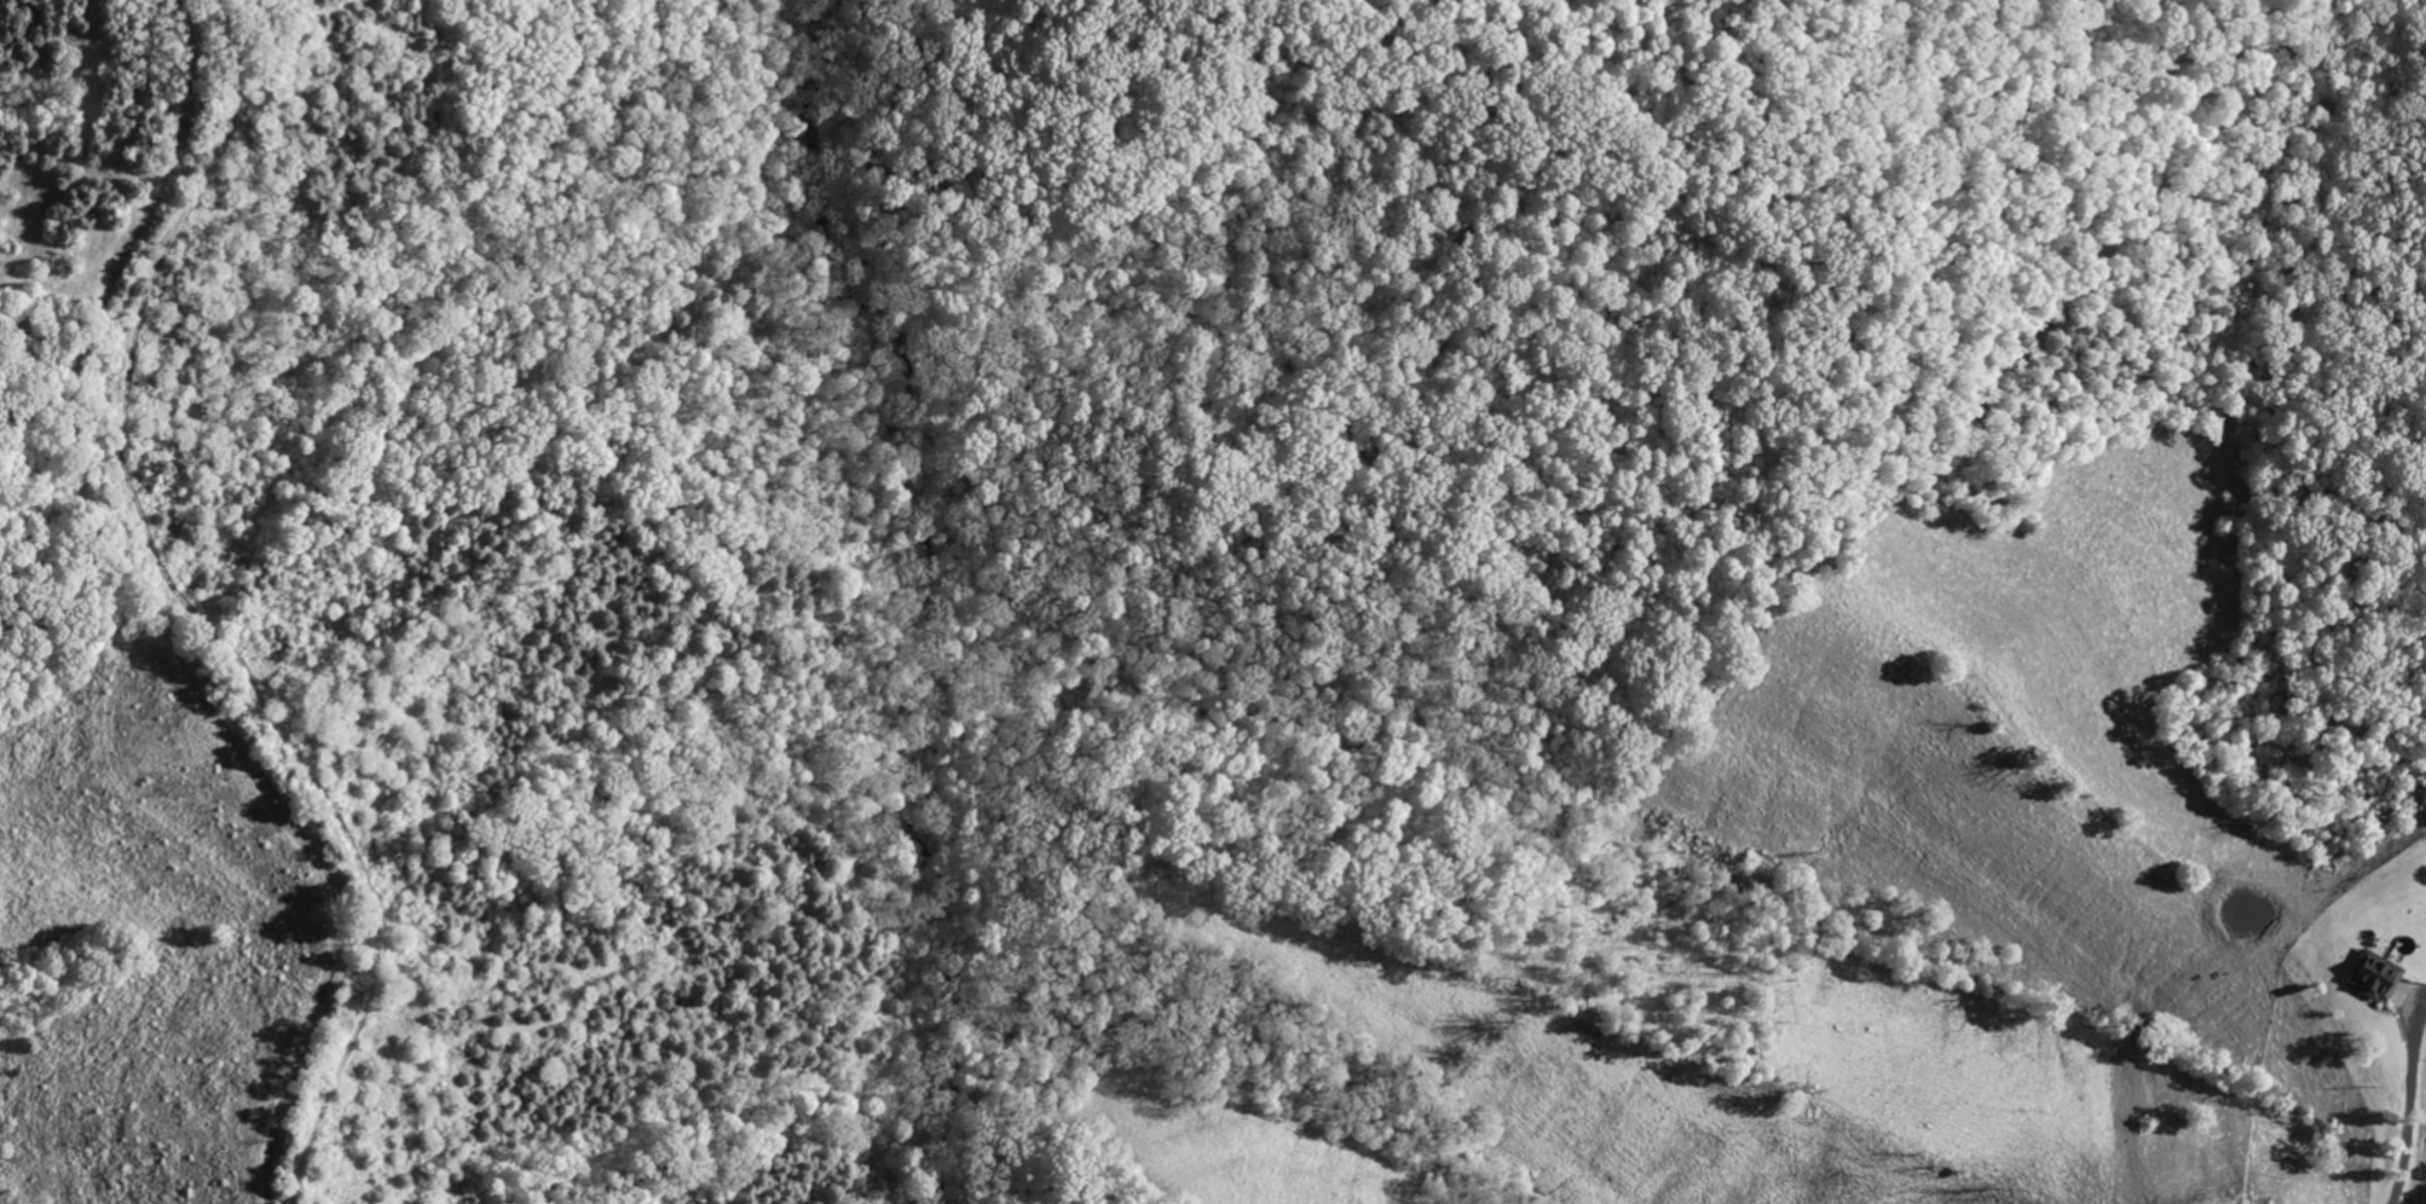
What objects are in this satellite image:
building: (2378, 976)
road: (2405, 1124)

